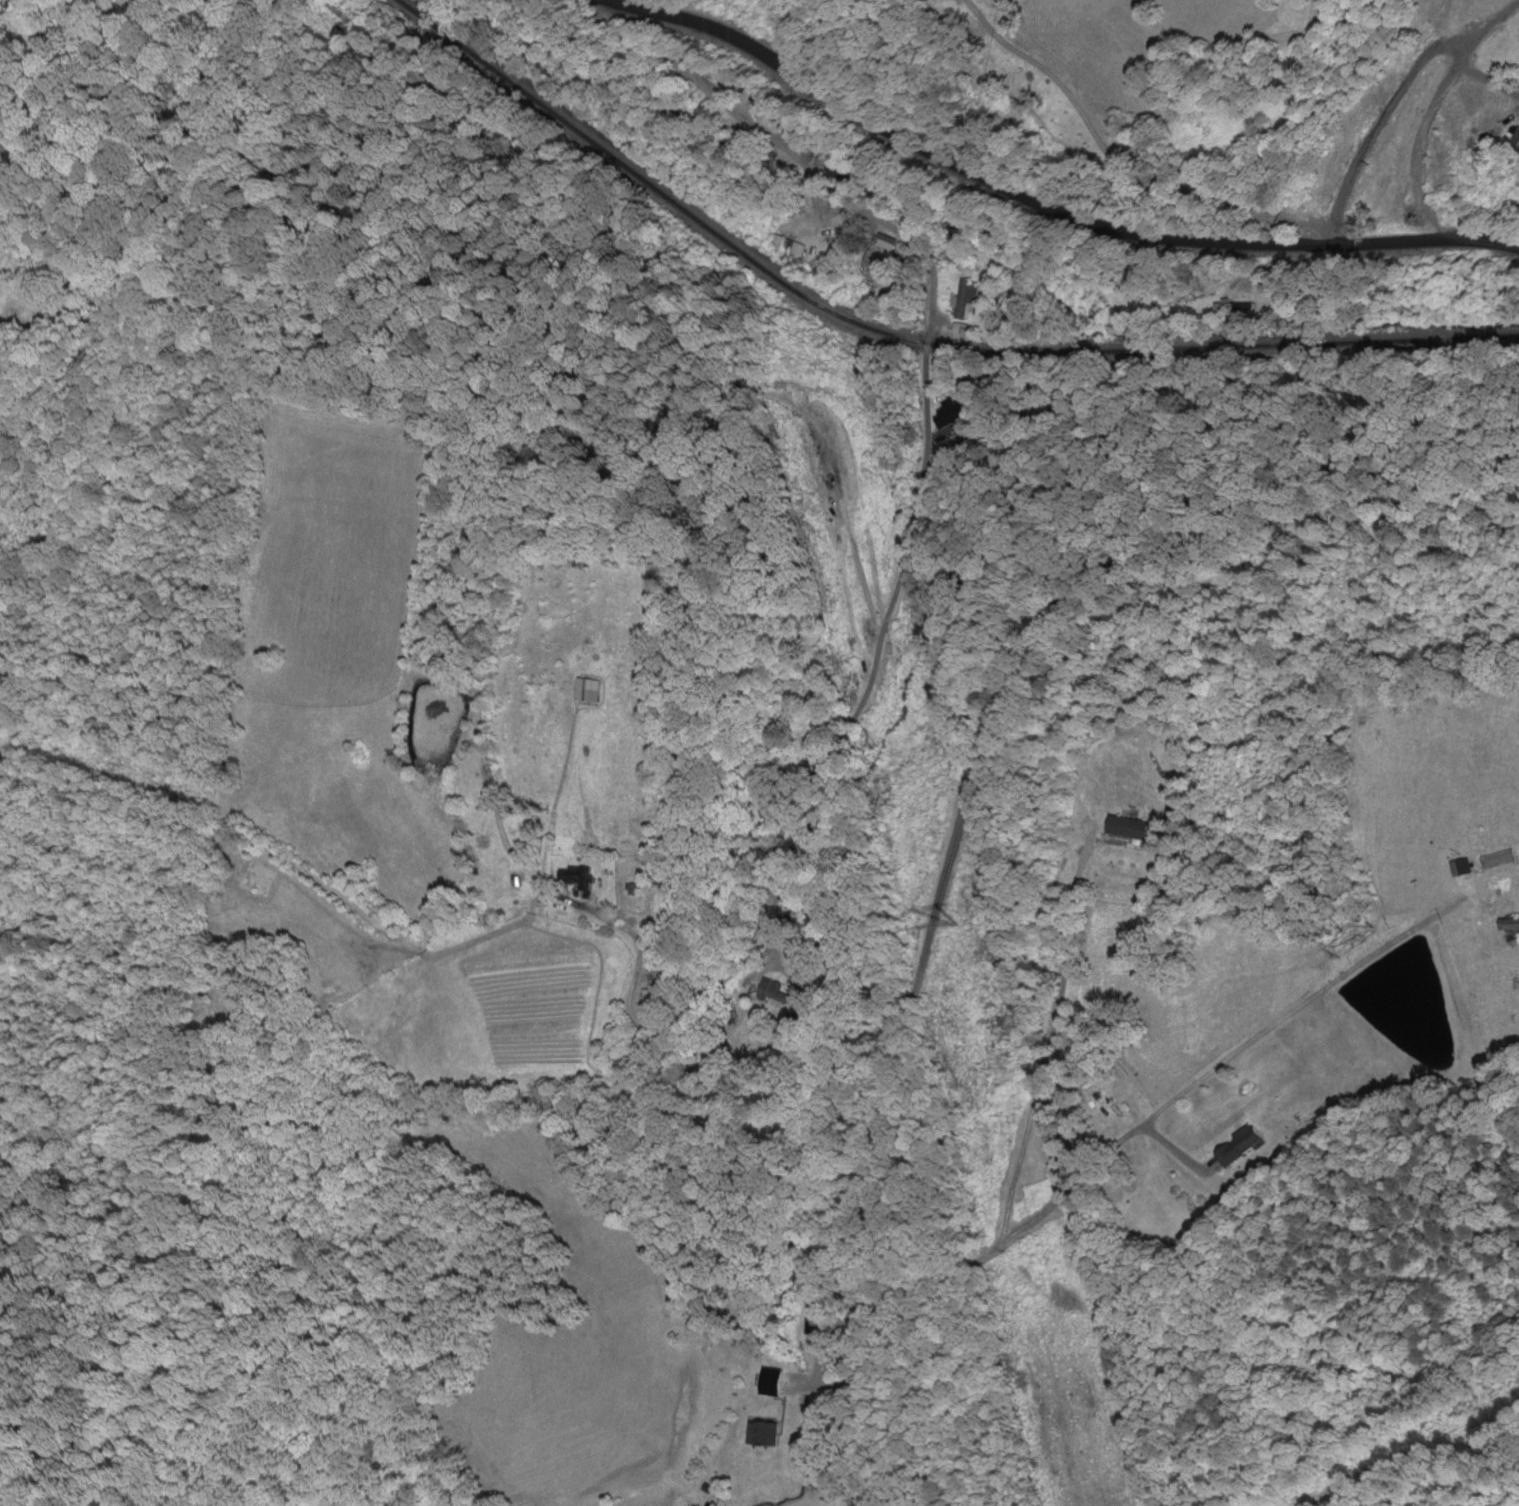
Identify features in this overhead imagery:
road: (1385, 100)
road: (1428, 105)
road: (1112, 163)
road: (1046, 205)
building: (878, 257)
building: (965, 299)
building: (995, 302)
building: (1233, 307)
railway: (907, 339)
building: (954, 415)
road: (903, 572)
building: (590, 753)
road: (971, 792)
building: (1126, 829)
building: (534, 842)
building: (1498, 860)
building: (1460, 868)
building: (570, 877)
building: (1508, 926)
power tower: (947, 936)
building: (773, 991)
road: (1146, 1121)
building: (1240, 1147)
building: (770, 1383)
building: (763, 1434)

